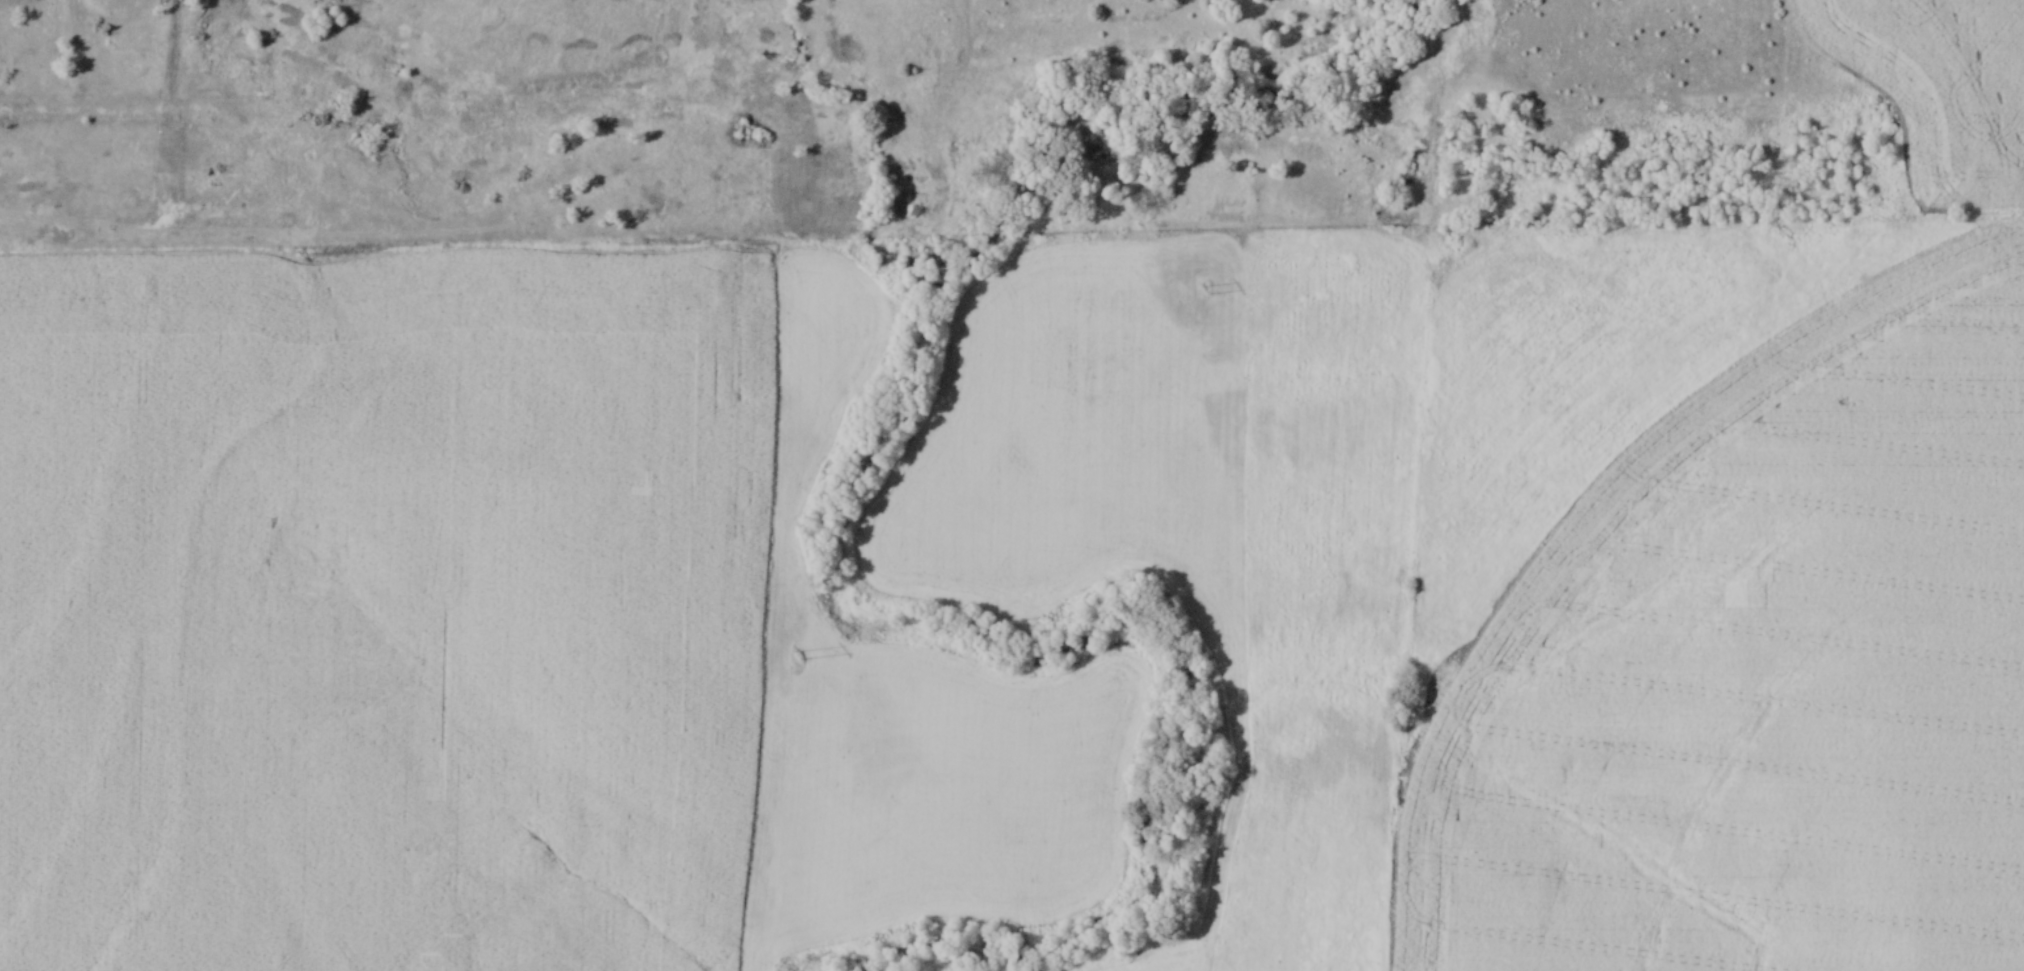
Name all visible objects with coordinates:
power tower: (1208, 292)
power tower: (800, 655)

